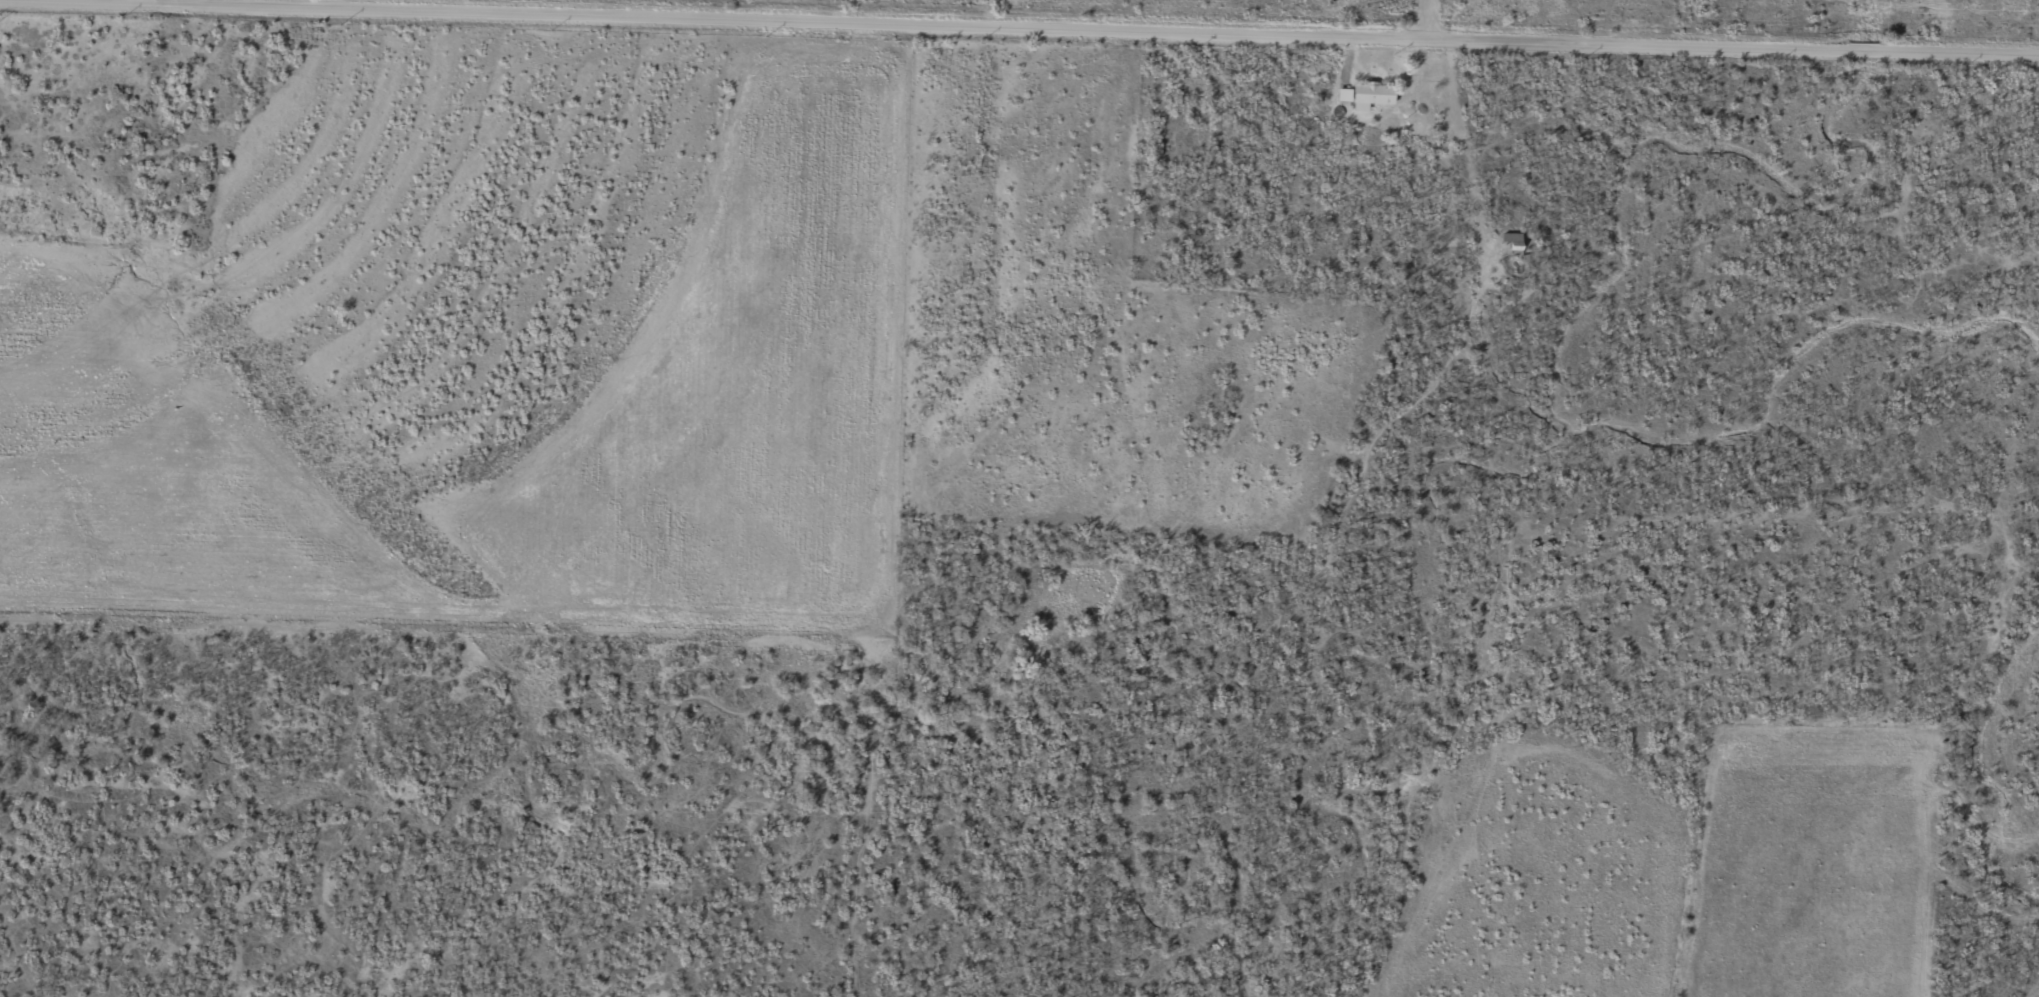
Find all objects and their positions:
road: (1149, 25)
building: (1372, 95)
building: (1512, 243)
road: (1372, 406)

